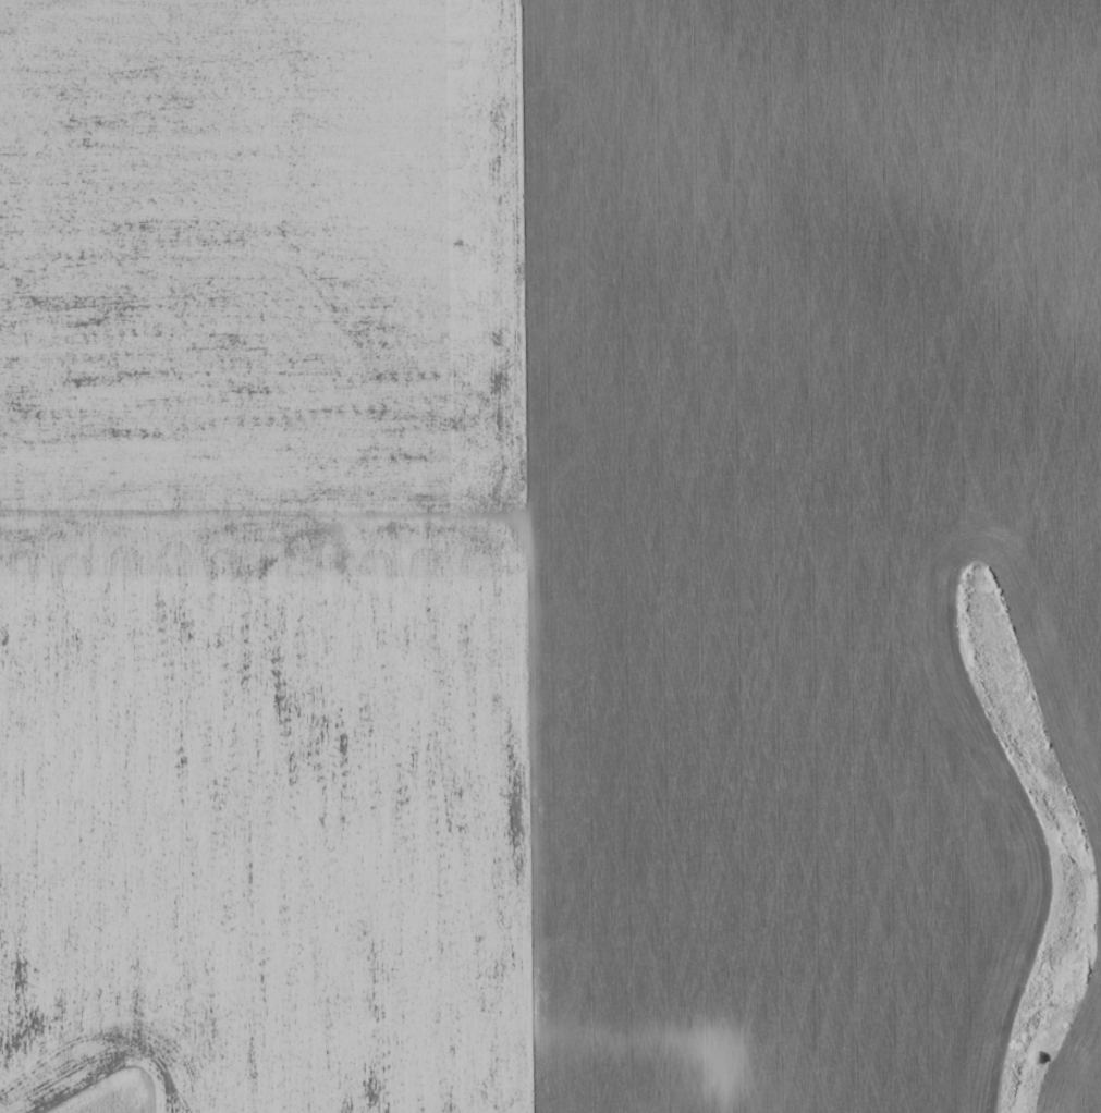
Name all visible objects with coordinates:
road: (201, 519)

